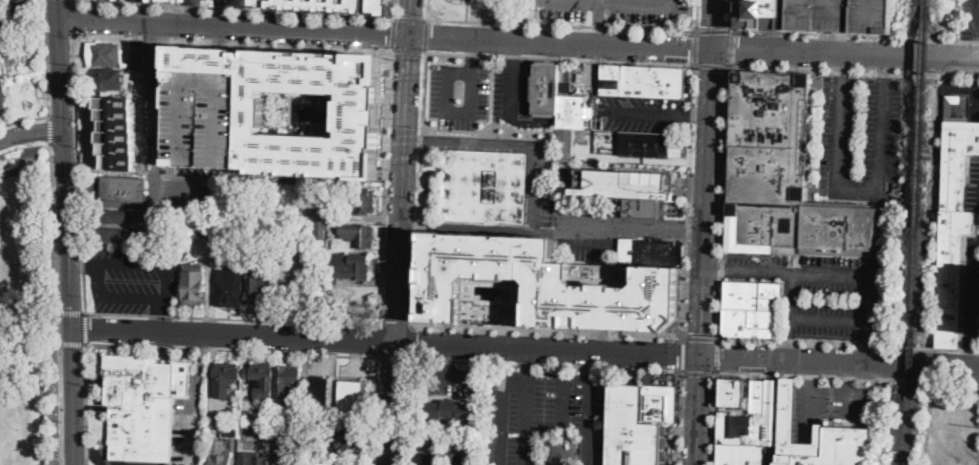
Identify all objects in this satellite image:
building: (107, 0)
road: (71, 1)
building: (176, 2)
road: (628, 2)
railway: (927, 2)
building: (22, 5)
building: (321, 5)
road: (395, 8)
road: (233, 9)
road: (427, 9)
road: (60, 10)
road: (598, 10)
parking lot: (621, 10)
road: (222, 13)
building: (750, 14)
building: (839, 14)
parking lot: (839, 14)
road: (729, 16)
road: (72, 17)
road: (411, 17)
road: (696, 17)
road: (410, 18)
parking lot: (971, 19)
road: (716, 23)
road: (563, 24)
road: (235, 28)
building: (3, 29)
road: (714, 30)
road: (597, 31)
road: (393, 32)
road: (425, 34)
road: (853, 34)
traffic signals: (410, 37)
road: (221, 39)
road: (828, 40)
road: (232, 41)
road: (562, 41)
road: (470, 45)
traffic signals: (715, 47)
road: (731, 47)
road: (513, 48)
road: (408, 49)
road: (695, 49)
road: (847, 52)
building: (103, 54)
road: (47, 56)
road: (560, 57)
road: (219, 63)
road: (710, 64)
road: (852, 71)
building: (565, 73)
building: (106, 79)
building: (644, 81)
building: (568, 83)
road: (512, 90)
building: (3, 92)
parking lot: (483, 92)
road: (159, 95)
building: (951, 103)
building: (561, 104)
road: (62, 112)
road: (648, 112)
road: (153, 113)
road: (455, 113)
parking lot: (642, 113)
road: (699, 115)
railway: (922, 115)
road: (24, 119)
building: (355, 120)
building: (200, 122)
parking lot: (200, 122)
road: (50, 128)
road: (32, 132)
building: (581, 135)
parking lot: (863, 135)
road: (420, 139)
road: (63, 142)
road: (528, 145)
building: (645, 145)
parking lot: (595, 147)
road: (596, 158)
road: (663, 162)
road: (79, 171)
building: (783, 175)
building: (615, 182)
road: (386, 186)
building: (486, 187)
road: (420, 188)
building: (124, 189)
road: (403, 190)
road: (858, 190)
building: (207, 192)
building: (359, 200)
road: (723, 200)
road: (689, 201)
road: (710, 201)
building: (557, 205)
building: (640, 209)
parking lot: (578, 215)
building: (113, 216)
road: (414, 225)
building: (954, 228)
building: (205, 230)
road: (689, 230)
road: (548, 231)
road: (881, 234)
building: (112, 235)
building: (323, 235)
building: (359, 235)
road: (69, 242)
road: (411, 245)
building: (651, 252)
road: (84, 262)
building: (353, 266)
road: (782, 271)
parking garage: (484, 275)
road: (855, 276)
building: (319, 277)
railway: (915, 277)
parking lot: (133, 278)
building: (232, 282)
building: (538, 282)
building: (193, 284)
building: (259, 288)
parking lot: (819, 292)
building: (752, 295)
road: (165, 296)
road: (58, 299)
road: (72, 311)
road: (161, 314)
road: (232, 317)
road: (831, 317)
building: (750, 323)
road: (395, 324)
road: (86, 326)
traffic signals: (73, 328)
road: (868, 328)
road: (548, 332)
road: (234, 335)
road: (701, 338)
road: (378, 339)
road: (73, 342)
road: (412, 342)
road: (848, 343)
road: (791, 347)
road: (232, 349)
road: (550, 349)
road: (867, 351)
road: (685, 354)
road: (395, 356)
road: (718, 356)
traffic signals: (704, 357)
road: (449, 360)
road: (466, 360)
road: (531, 360)
railway: (911, 362)
road: (841, 363)
road: (528, 364)
road: (200, 365)
road: (611, 368)
road: (812, 370)
road: (700, 371)
road: (851, 373)
road: (450, 376)
road: (847, 376)
building: (225, 378)
parking lot: (448, 379)
building: (262, 382)
building: (286, 382)
building: (320, 392)
building: (351, 397)
road: (850, 397)
building: (660, 400)
parking lot: (829, 402)
road: (86, 403)
building: (142, 403)
road: (564, 403)
road: (393, 404)
building: (763, 404)
road: (810, 408)
road: (375, 410)
road: (503, 410)
road: (700, 410)
road: (410, 411)
building: (450, 411)
building: (244, 415)
building: (319, 417)
road: (529, 418)
road: (681, 418)
parking lot: (546, 419)
road: (714, 419)
building: (343, 420)
road: (589, 422)
parking lot: (187, 423)
parking lot: (951, 428)
road: (192, 430)
building: (230, 430)
building: (628, 430)
railway: (905, 430)
building: (352, 438)
building: (420, 440)
building: (473, 441)
building: (737, 441)
road: (588, 448)
building: (836, 448)
building: (286, 450)
parking lot: (98, 453)
road: (87, 454)
building: (250, 456)
building: (221, 457)
building: (427, 458)
road: (102, 459)
building: (456, 459)
building: (331, 464)

